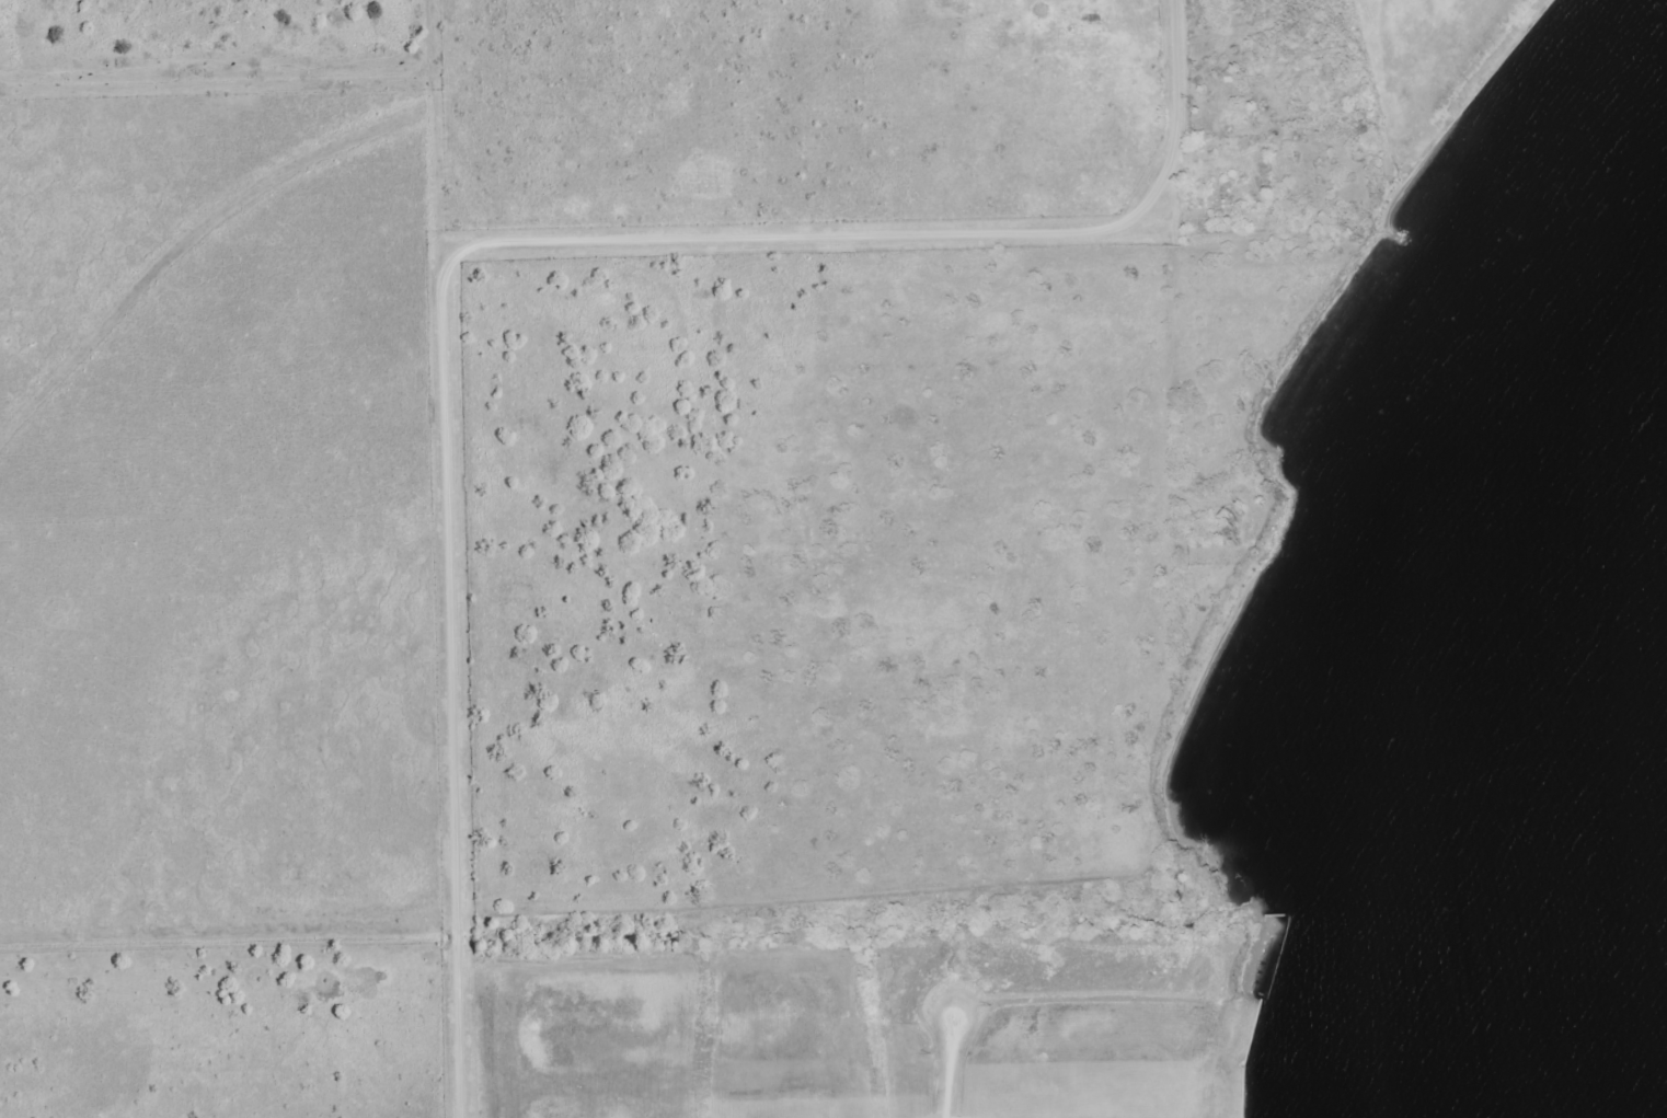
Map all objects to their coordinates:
road: (474, 242)

